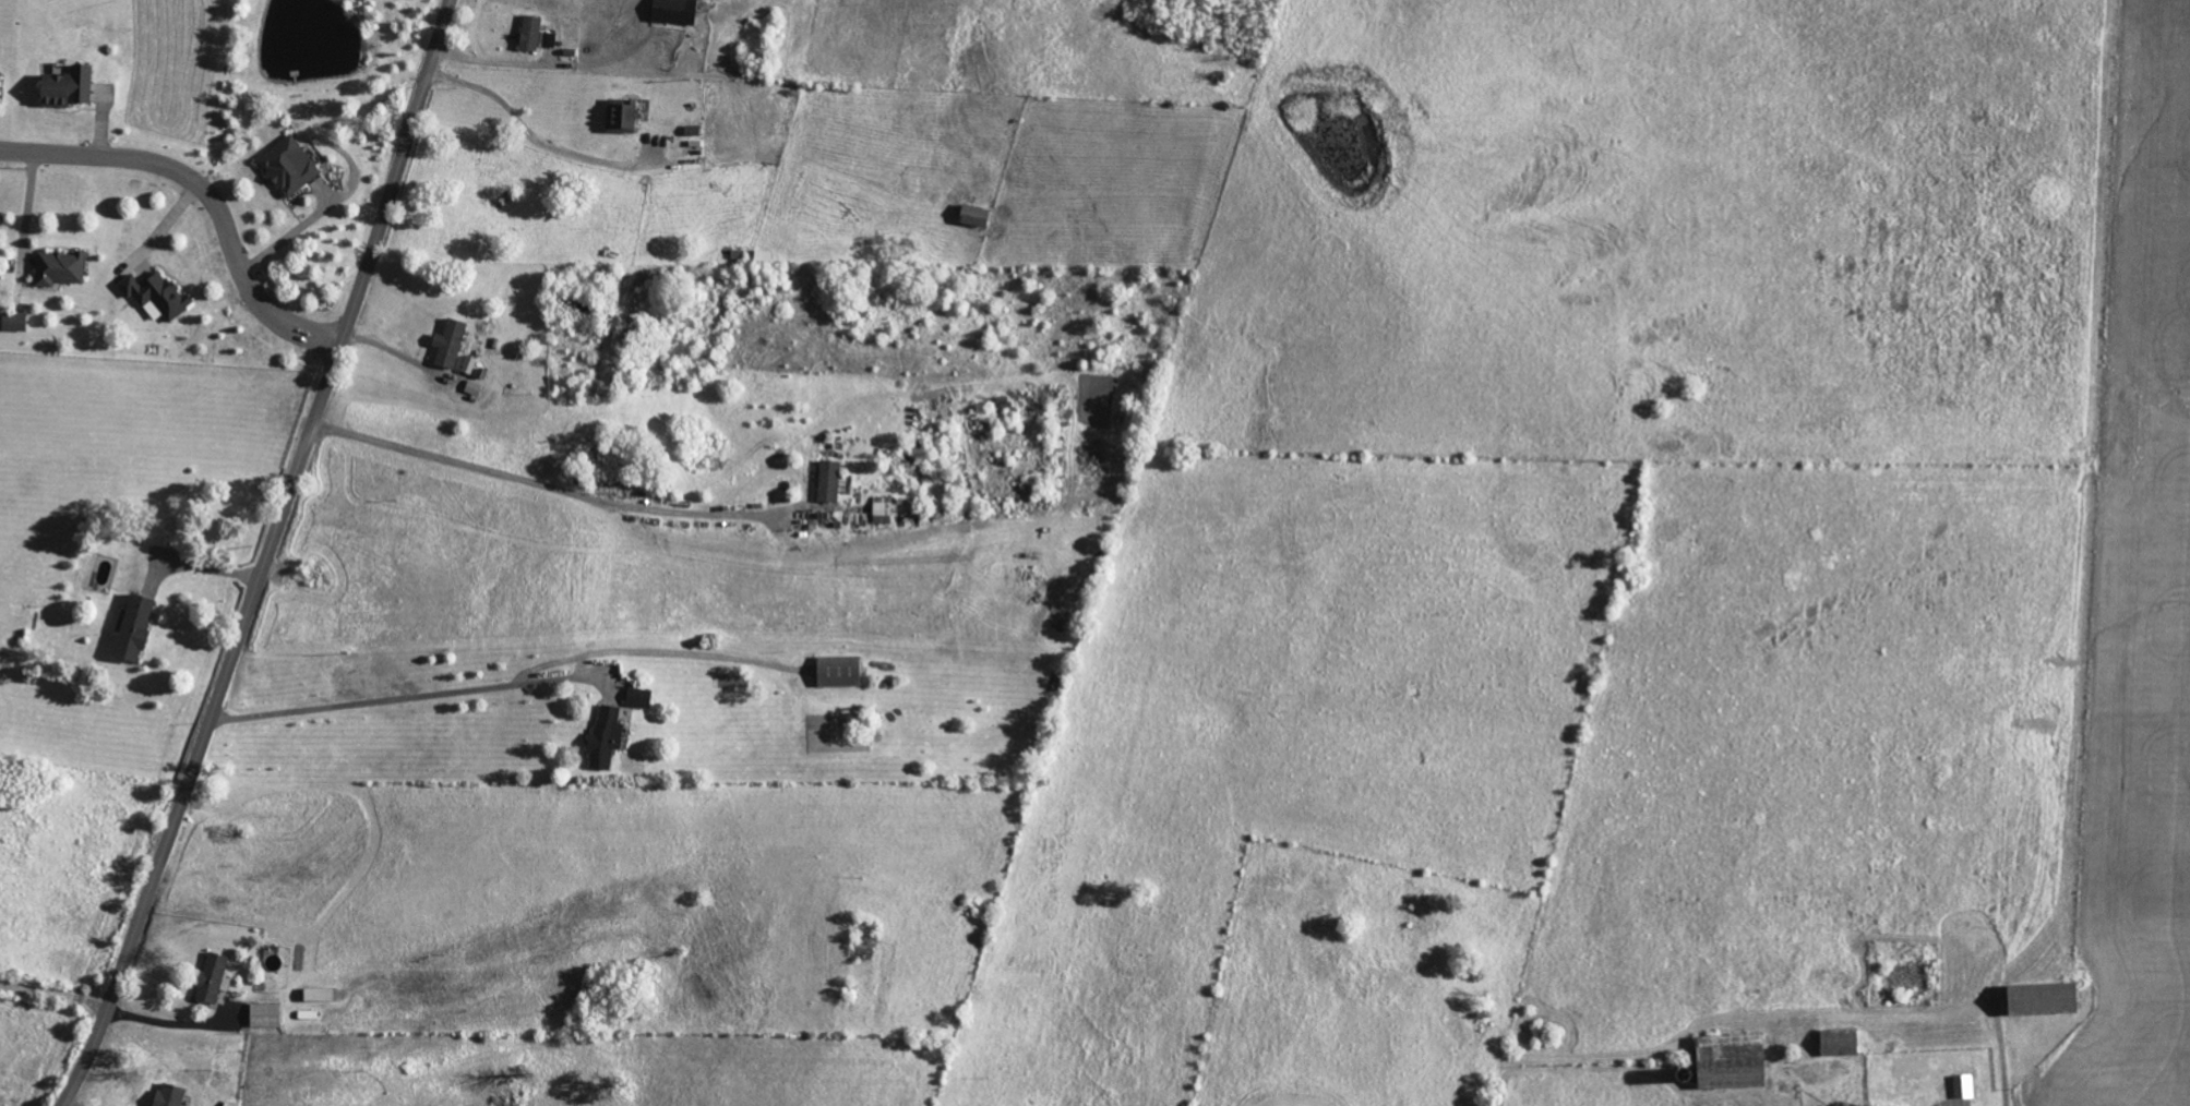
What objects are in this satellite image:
building: (672, 11)
building: (527, 32)
building: (547, 39)
building: (63, 86)
building: (619, 115)
road: (530, 133)
building: (287, 166)
road: (207, 191)
road: (320, 214)
building: (972, 214)
building: (57, 267)
building: (154, 294)
building: (12, 321)
building: (446, 342)
building: (826, 481)
road: (547, 486)
building: (881, 508)
road: (267, 556)
building: (131, 627)
building: (836, 670)
road: (558, 678)
road: (508, 684)
building: (636, 697)
building: (603, 737)
building: (211, 978)
building: (2083, 981)
building: (314, 995)
building: (2038, 999)
building: (262, 1014)
road: (172, 1025)
building: (1836, 1042)
building: (1727, 1061)
road: (2004, 1063)
building: (1961, 1086)
building: (167, 1095)

